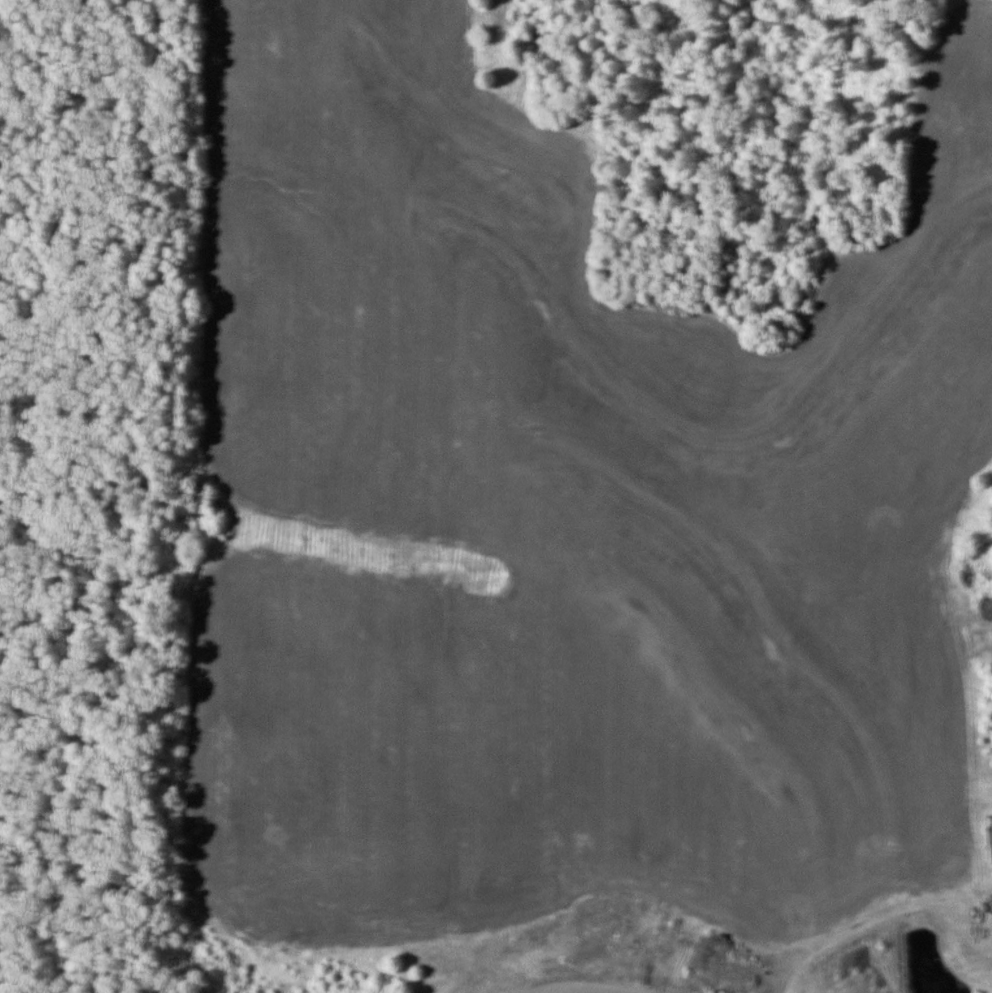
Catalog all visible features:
building: (989, 838)
road: (856, 923)

